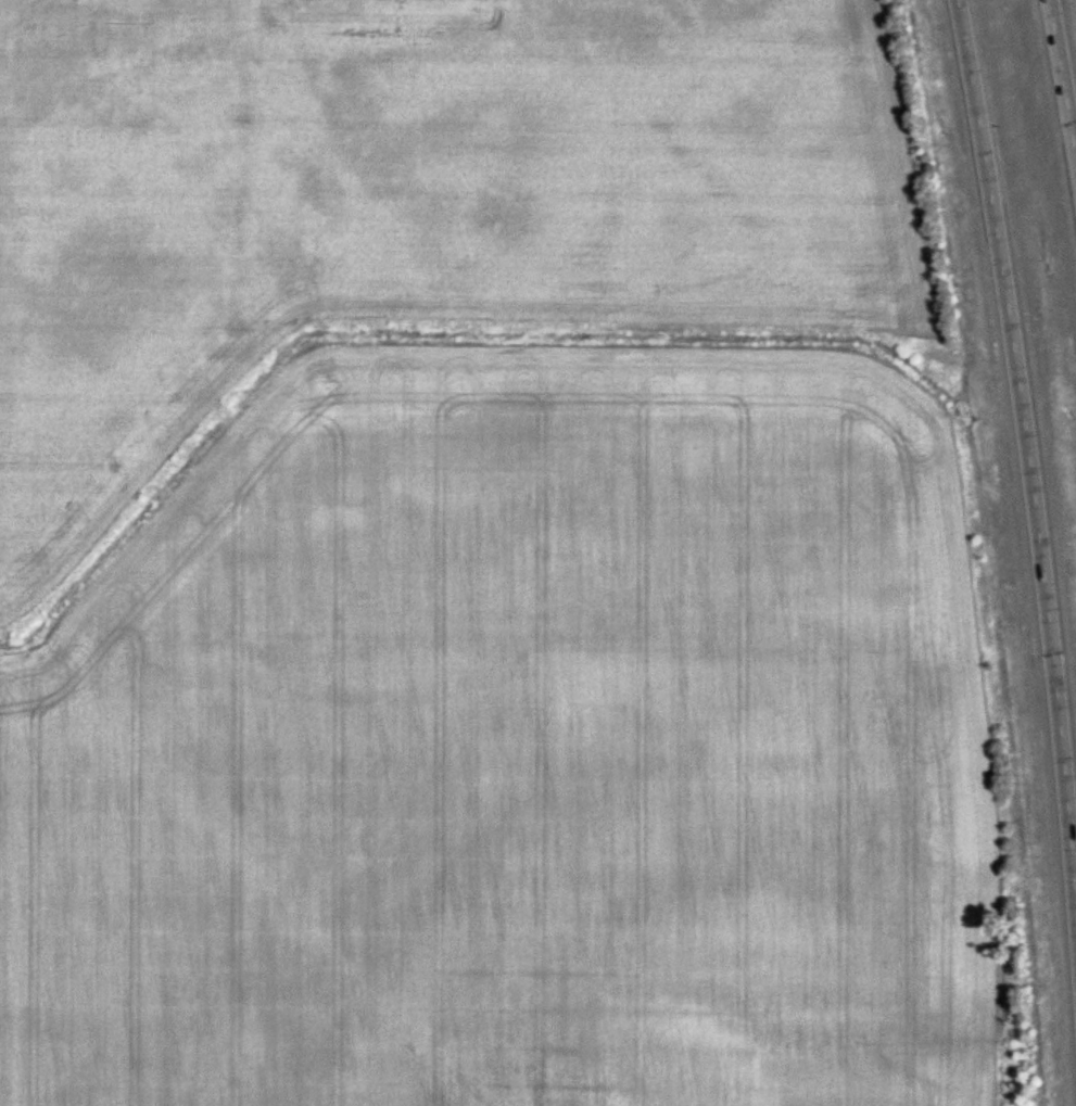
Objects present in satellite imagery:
road: (1063, 78)
road: (1030, 471)

